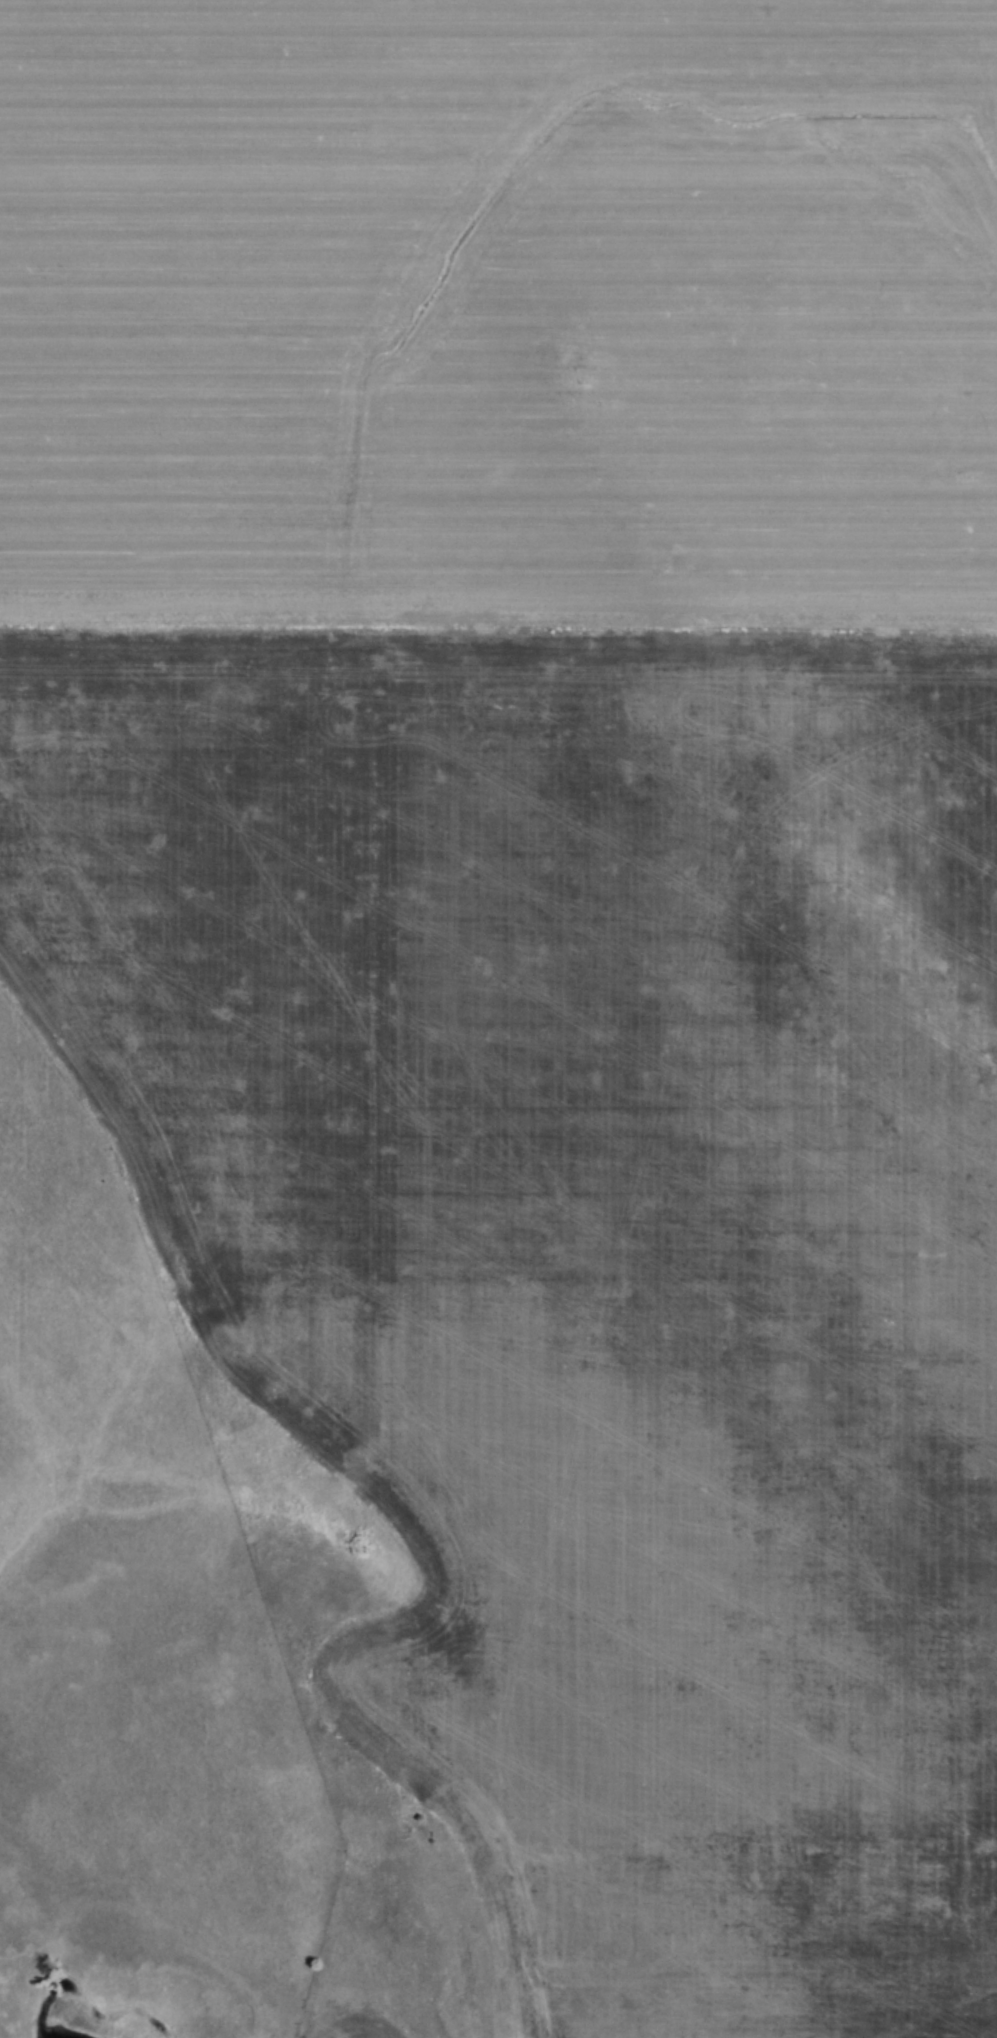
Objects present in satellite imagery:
road: (973, 2018)

